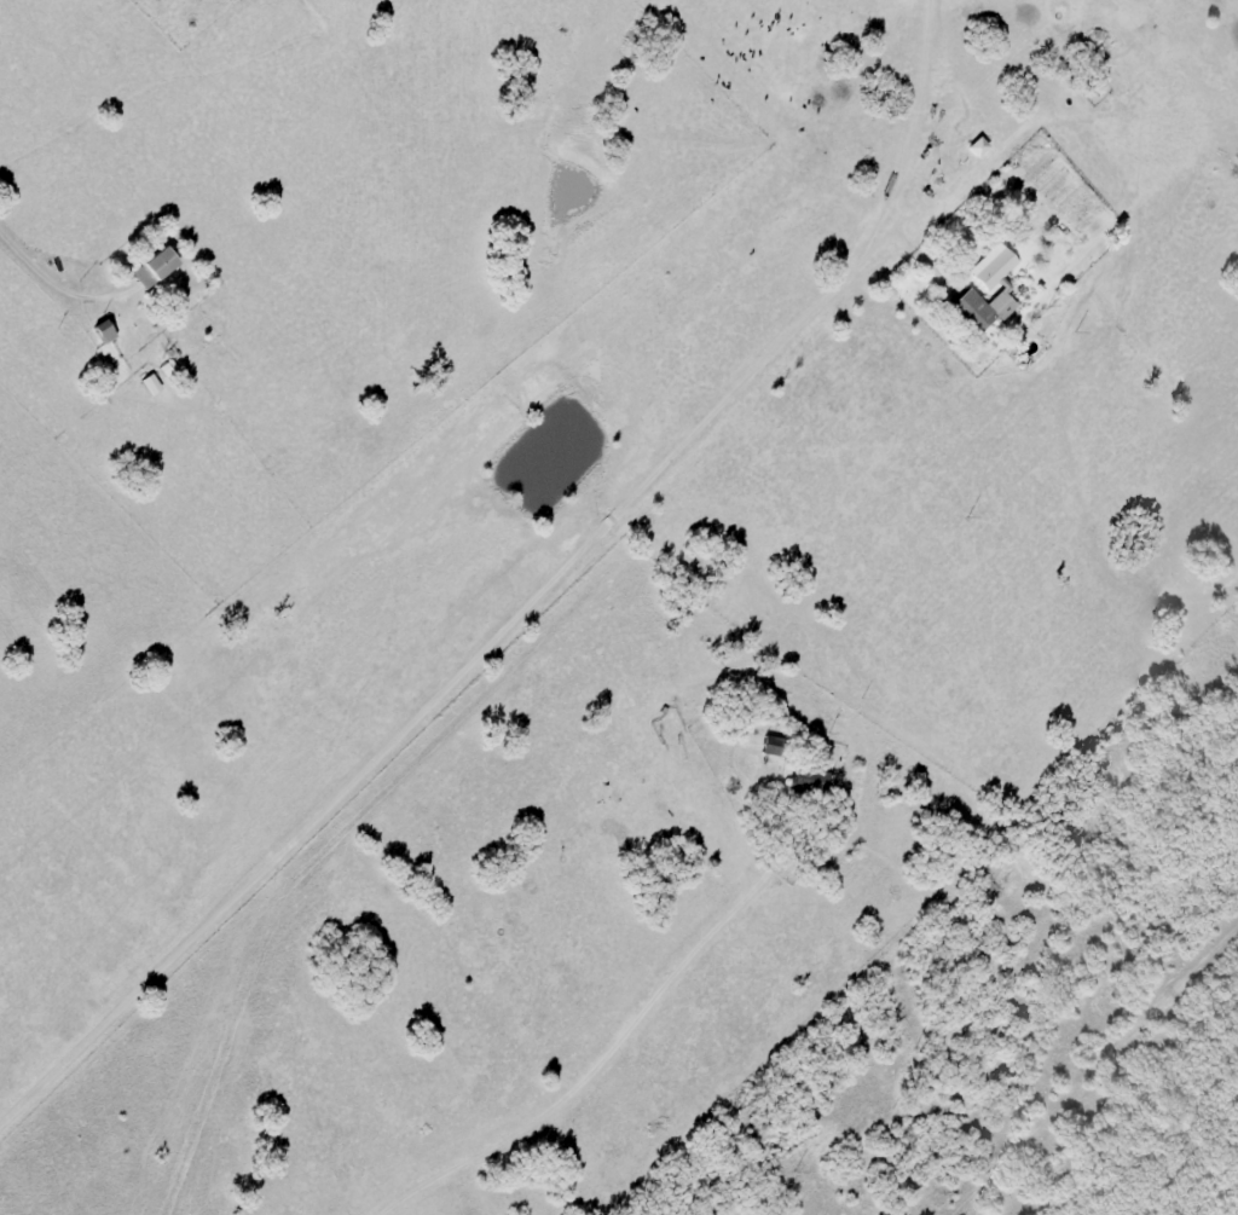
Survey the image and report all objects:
building: (977, 146)
building: (152, 267)
building: (967, 294)
building: (151, 383)
road: (351, 1059)

